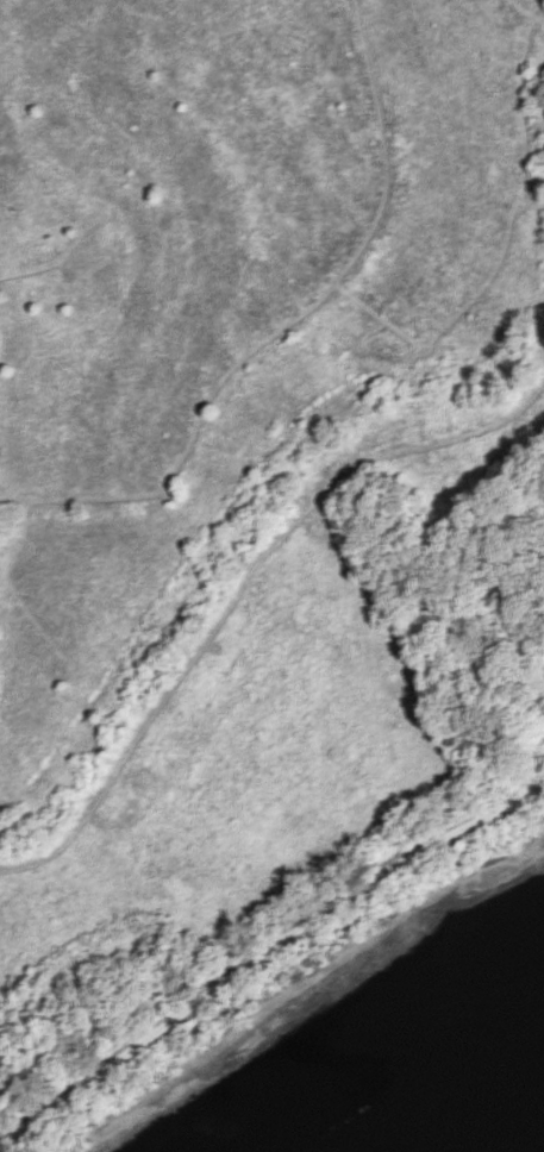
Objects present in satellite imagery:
road: (267, 963)

